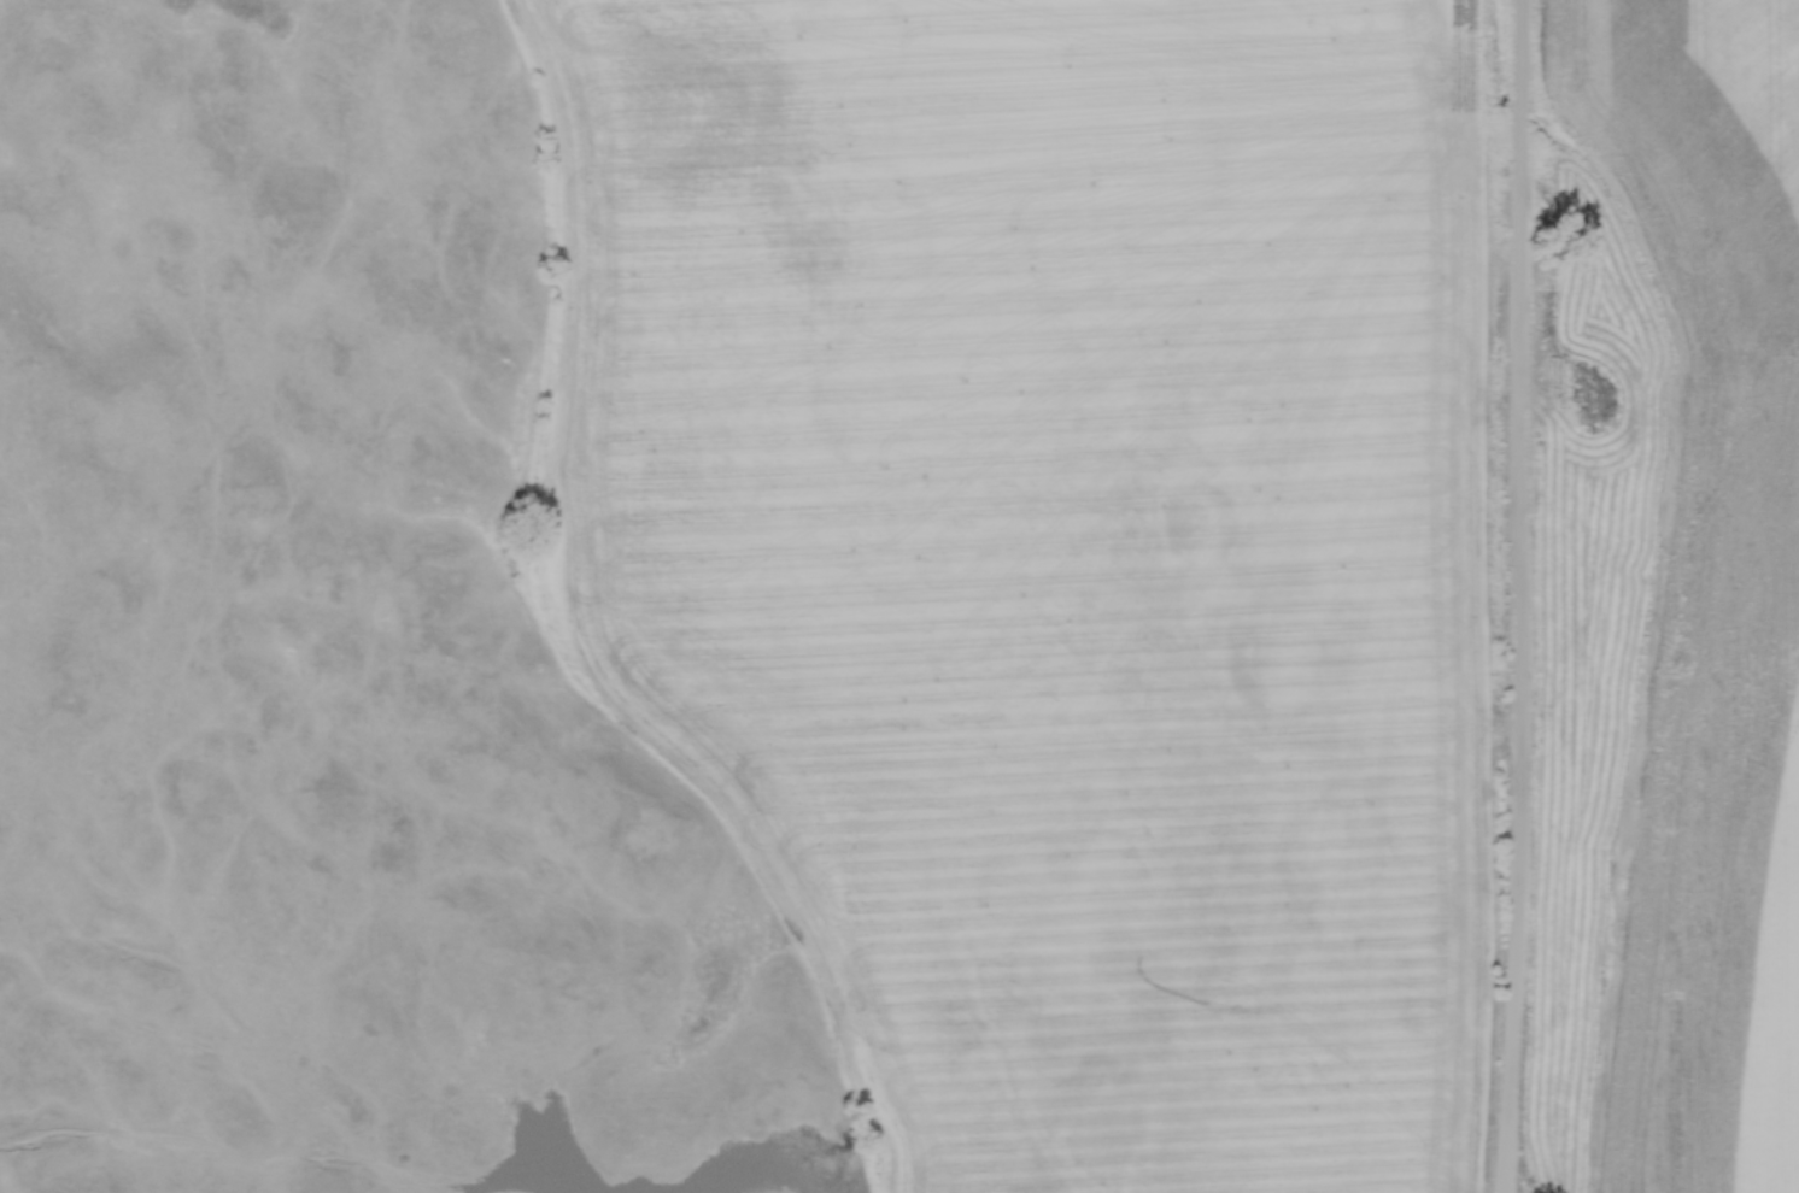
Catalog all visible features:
road: (1517, 596)

